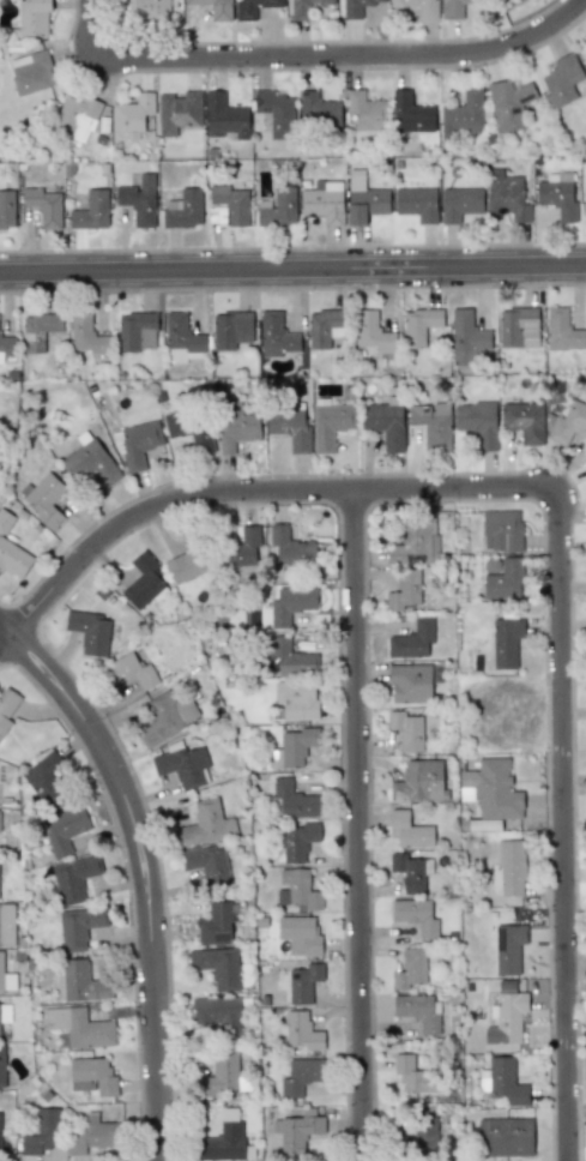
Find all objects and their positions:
building: (518, 0)
building: (252, 7)
building: (303, 7)
building: (357, 7)
building: (453, 7)
building: (215, 8)
building: (146, 10)
building: (427, 12)
building: (34, 17)
road: (315, 56)
building: (31, 72)
rooftop solar panel: (258, 98)
building: (508, 103)
rooftop solar panel: (266, 107)
building: (318, 110)
building: (367, 110)
building: (177, 112)
building: (276, 113)
building: (411, 114)
building: (132, 115)
building: (464, 115)
building: (75, 116)
building: (224, 116)
building: (585, 192)
building: (557, 194)
building: (507, 195)
building: (139, 200)
building: (364, 200)
building: (322, 201)
building: (416, 203)
building: (460, 203)
building: (44, 205)
building: (226, 206)
building: (278, 207)
building: (6, 209)
building: (183, 209)
building: (91, 211)
road: (292, 270)
building: (418, 325)
building: (322, 326)
building: (518, 327)
building: (230, 329)
building: (38, 330)
building: (135, 331)
building: (562, 331)
building: (373, 332)
building: (86, 335)
building: (276, 335)
building: (466, 337)
building: (181, 338)
building: (6, 343)
building: (524, 421)
building: (477, 422)
building: (385, 423)
building: (567, 423)
building: (331, 425)
building: (431, 425)
building: (237, 428)
building: (188, 429)
building: (138, 444)
building: (90, 462)
road: (250, 491)
building: (44, 498)
building: (5, 519)
building: (501, 529)
building: (416, 540)
building: (291, 547)
building: (241, 549)
building: (13, 559)
building: (186, 565)
building: (143, 580)
building: (503, 580)
building: (404, 590)
building: (290, 602)
building: (89, 631)
building: (412, 639)
building: (506, 642)
building: (290, 657)
building: (128, 672)
building: (410, 682)
building: (6, 706)
building: (167, 718)
building: (406, 729)
building: (292, 747)
building: (182, 765)
building: (44, 780)
building: (419, 781)
building: (491, 789)
building: (294, 799)
building: (206, 824)
road: (358, 825)
road: (564, 825)
building: (64, 830)
building: (410, 830)
building: (296, 842)
building: (207, 865)
building: (511, 867)
road: (145, 870)
building: (409, 871)
building: (74, 878)
building: (296, 890)
building: (415, 915)
building: (216, 924)
building: (6, 925)
building: (79, 926)
building: (300, 934)
rooftop solar panel: (219, 937)
building: (508, 948)
building: (218, 967)
building: (410, 969)
building: (6, 979)
building: (83, 982)
building: (303, 982)
building: (418, 1010)
building: (5, 1012)
building: (218, 1013)
building: (506, 1015)
building: (79, 1027)
building: (302, 1031)
building: (1, 1067)
building: (412, 1071)
building: (220, 1075)
building: (91, 1076)
building: (300, 1076)
building: (502, 1082)
building: (0, 1124)
building: (297, 1131)
building: (42, 1132)
building: (424, 1135)
building: (505, 1136)
building: (223, 1142)

